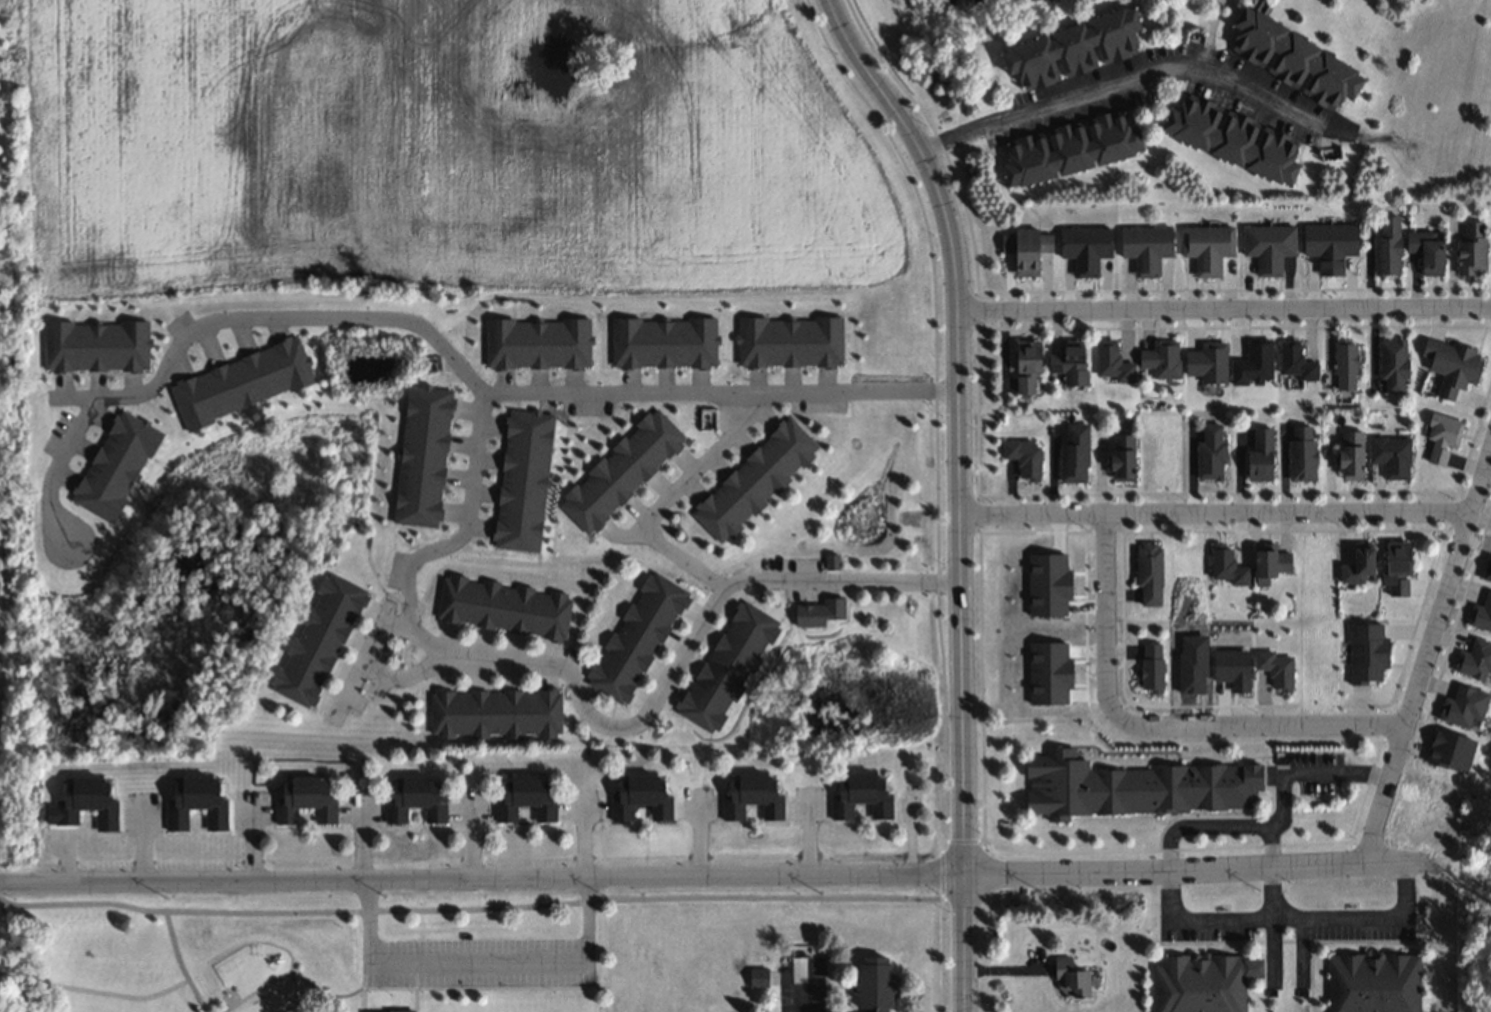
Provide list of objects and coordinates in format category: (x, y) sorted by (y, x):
building: (1070, 49)
building: (1290, 59)
road: (1128, 78)
building: (1231, 138)
building: (1069, 148)
crop: (451, 149)
building: (1267, 246)
building: (1386, 246)
building: (1145, 247)
building: (1206, 247)
building: (1084, 248)
building: (1471, 249)
building: (1025, 250)
building: (1425, 251)
road: (1225, 304)
building: (1025, 356)
building: (1160, 359)
building: (1068, 364)
building: (1392, 364)
building: (1450, 366)
building: (1018, 382)
road: (589, 390)
building: (1073, 452)
building: (1209, 452)
building: (1301, 453)
building: (1350, 455)
building: (1259, 456)
building: (1390, 456)
building: (1122, 457)
building: (620, 470)
building: (753, 480)
road: (674, 489)
road: (962, 492)
road: (1214, 514)
building: (1357, 565)
building: (1268, 566)
building: (1395, 568)
building: (1486, 570)
building: (1148, 574)
building: (502, 608)
building: (807, 616)
building: (635, 637)
road: (373, 639)
building: (317, 640)
road: (1423, 648)
building: (725, 667)
road: (659, 691)
building: (494, 713)
road: (1153, 725)
building: (1132, 787)
building: (860, 795)
building: (523, 796)
building: (750, 796)
building: (639, 797)
building: (413, 799)
building: (305, 800)
building: (194, 801)
building: (82, 802)
park: (1481, 857)
road: (710, 877)
road: (1274, 892)
road: (487, 905)
road: (1290, 917)
park: (306, 950)
building: (756, 978)
building: (1068, 979)
building: (1202, 982)
building: (1371, 983)
building: (872, 984)
road: (802, 988)
building: (387, 1011)

